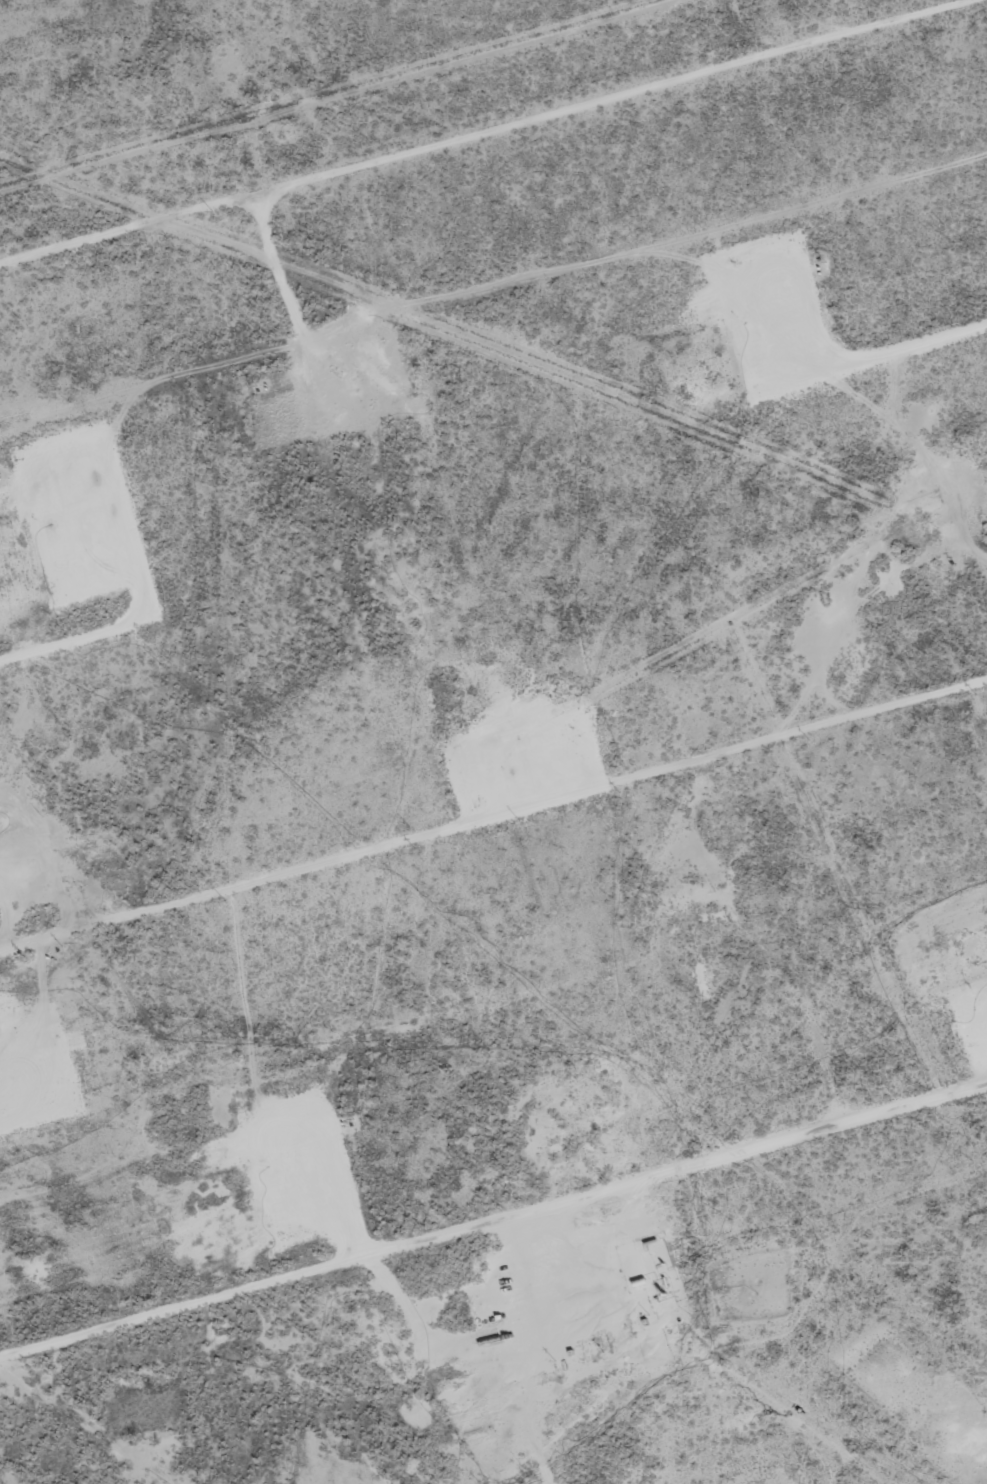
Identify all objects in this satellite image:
road: (462, 127)
road: (493, 804)
road: (493, 1197)

